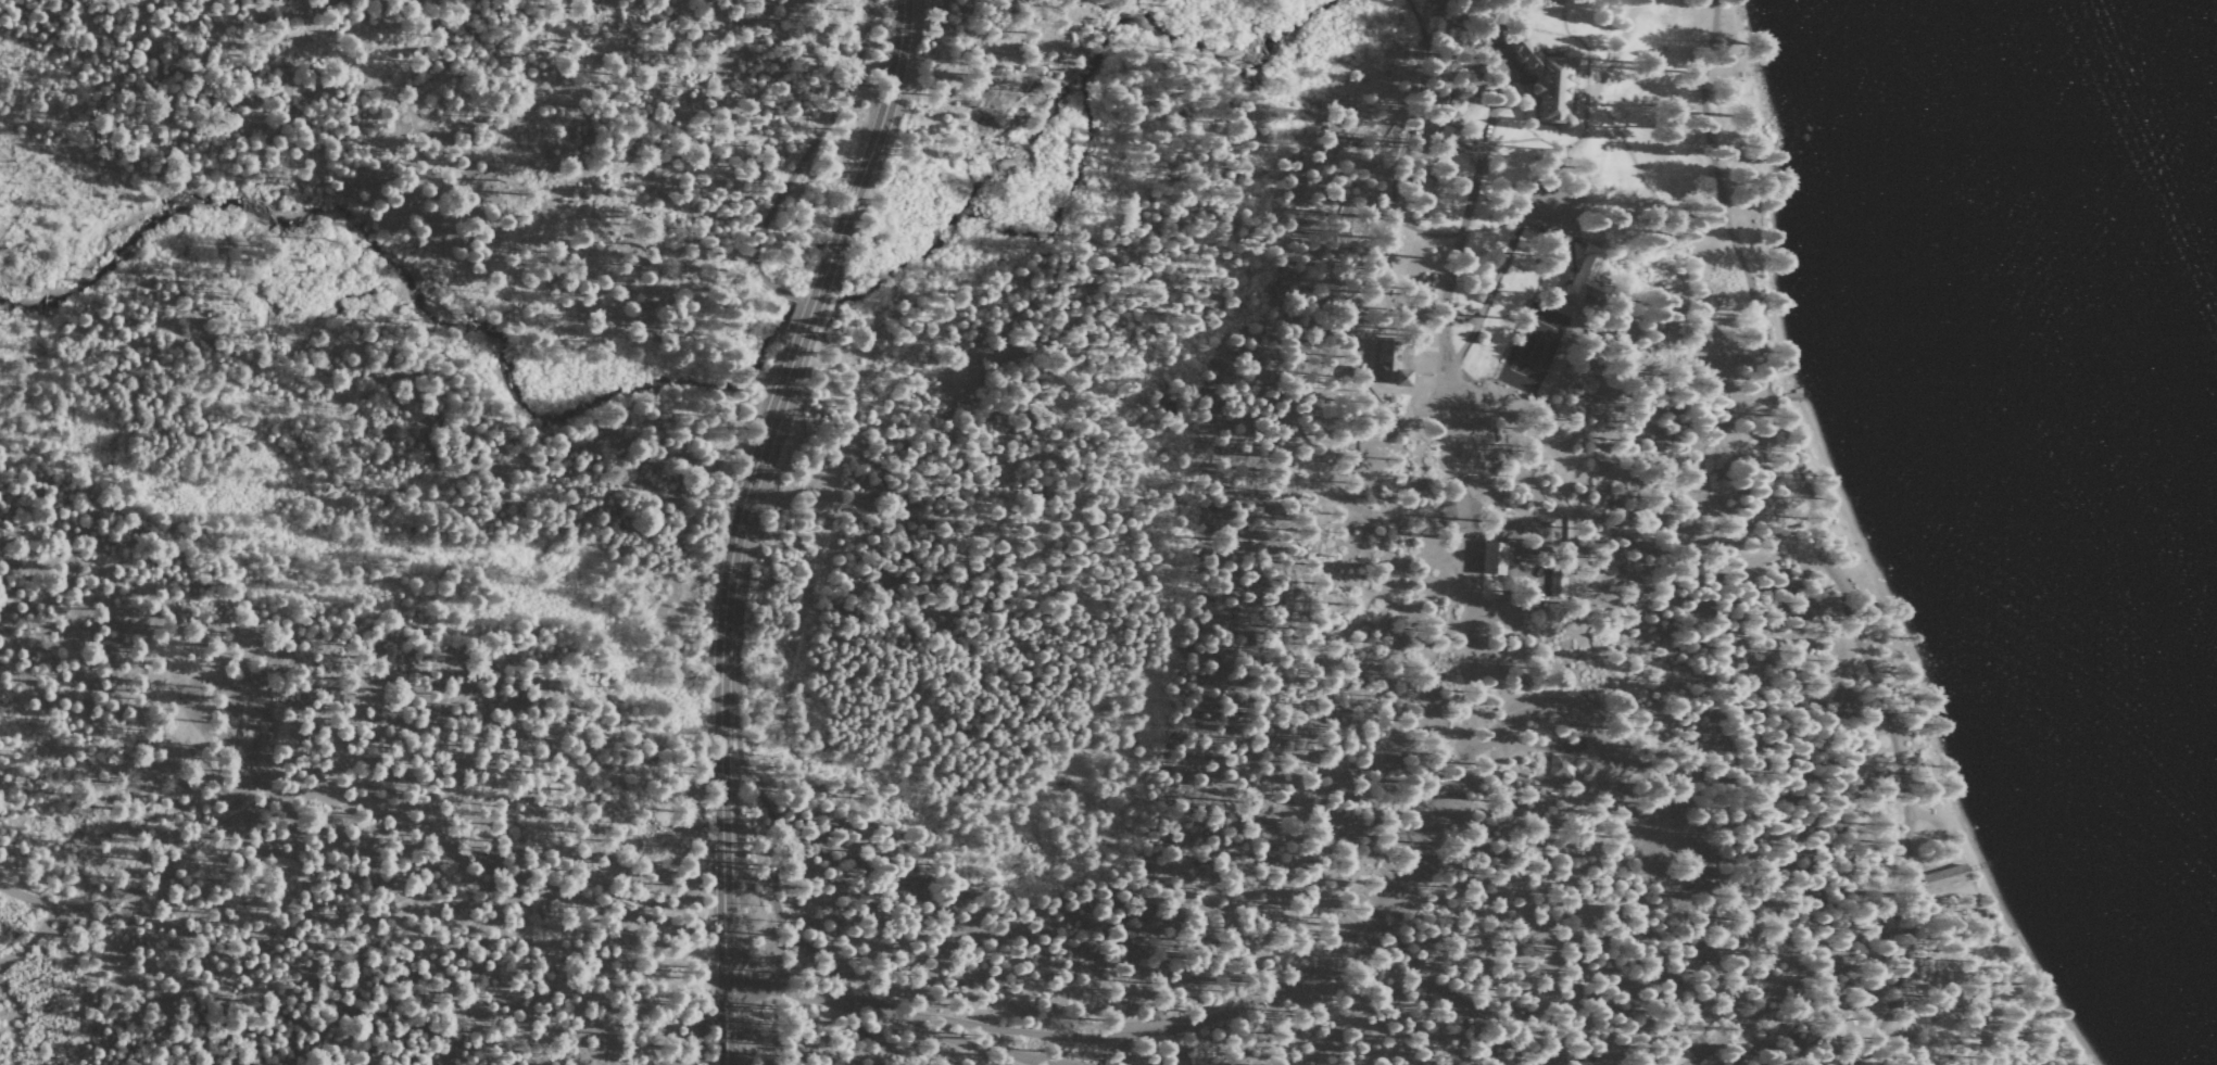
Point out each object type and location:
road: (320, 51)
road: (1610, 58)
building: (1542, 76)
road: (1407, 136)
building: (1445, 140)
road: (1465, 148)
road: (867, 155)
road: (805, 162)
building: (1425, 189)
road: (1528, 204)
road: (1489, 219)
building: (1582, 274)
road: (789, 326)
road: (803, 326)
park: (1531, 346)
building: (1389, 360)
road: (1445, 376)
road: (1817, 545)
building: (1490, 556)
building: (1554, 583)
road: (1491, 675)
road: (719, 700)
road: (1524, 709)
road: (736, 722)
building: (1562, 764)
road: (390, 815)
railway: (2018, 855)
road: (1657, 869)
building: (1941, 874)
road: (1396, 876)
parking lot: (1388, 885)
road: (135, 890)
road: (1729, 898)
road: (620, 927)
road: (794, 992)
road: (1452, 1005)
road: (1940, 1018)
road: (1271, 1027)
road: (1089, 1036)
road: (961, 1042)
road: (1168, 1045)

